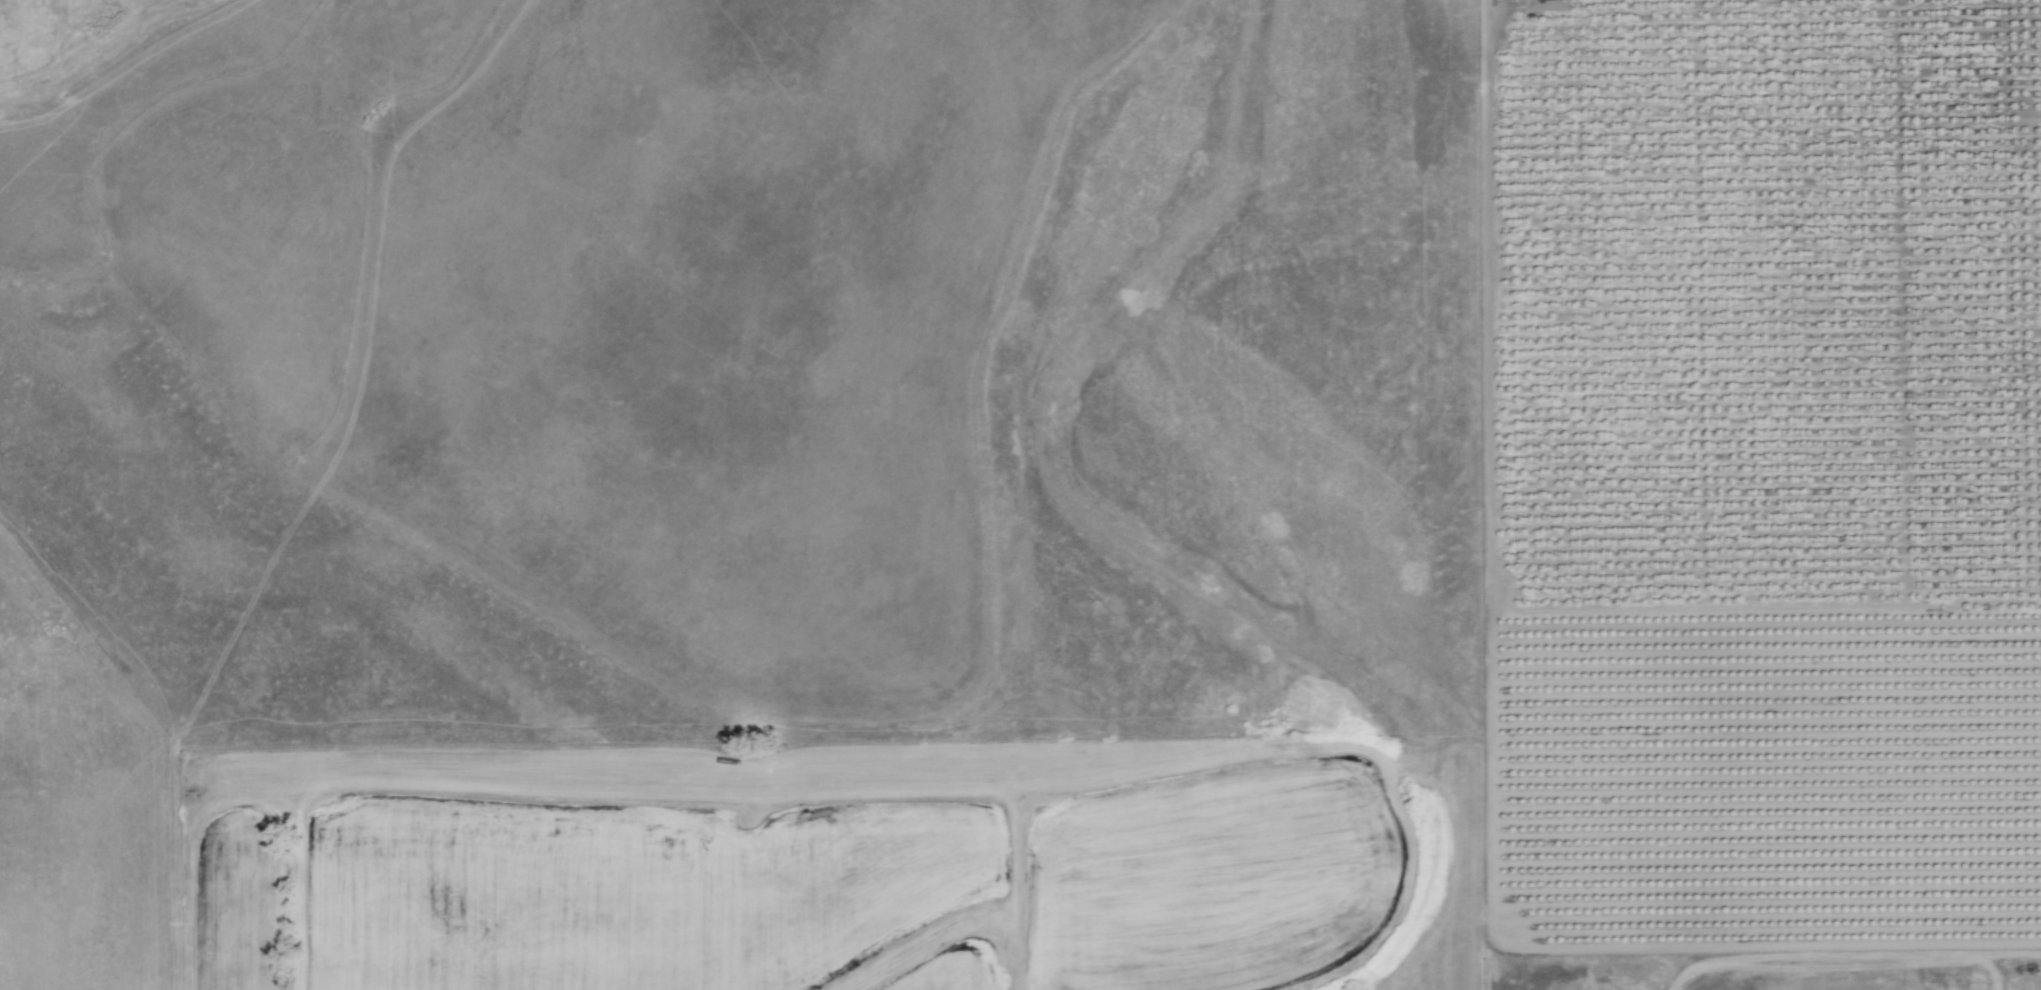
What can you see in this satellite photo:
road: (1837, 964)

